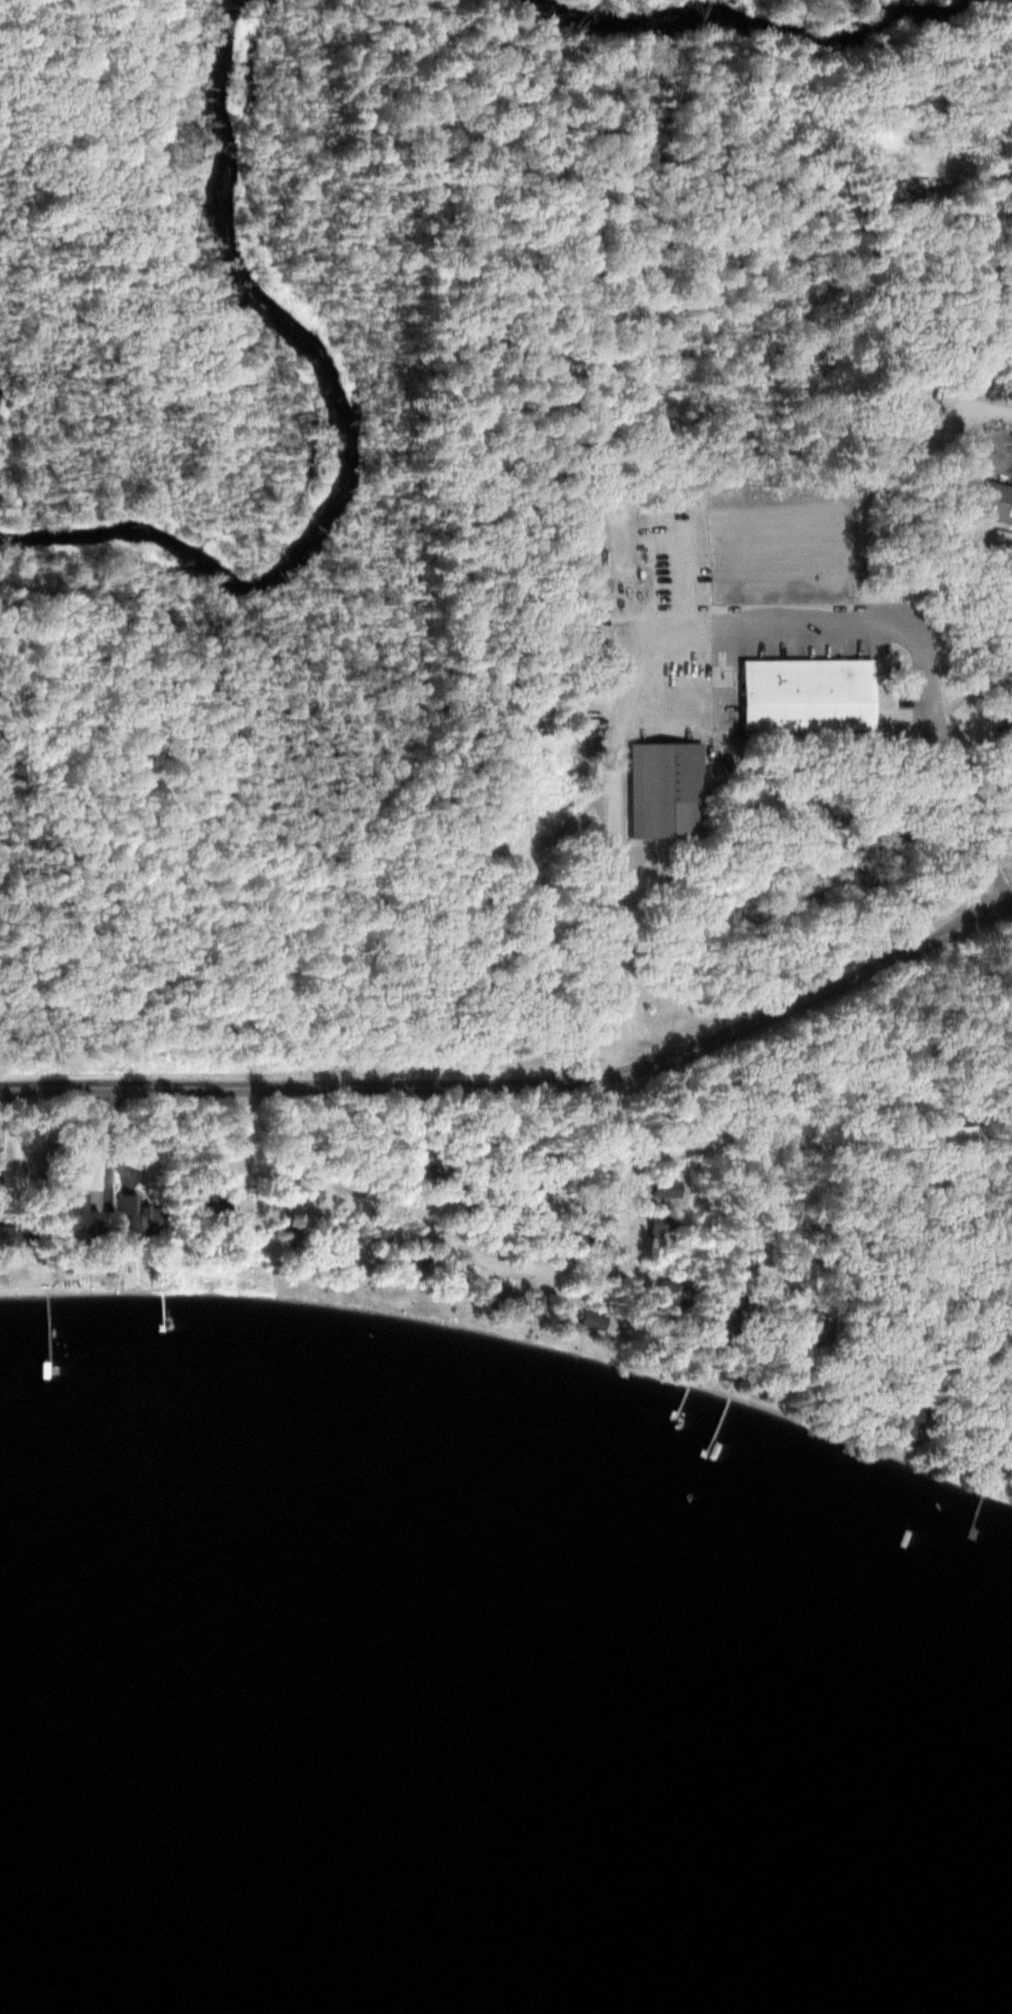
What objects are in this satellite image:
building: (994, 499)
road: (704, 631)
parking lot: (723, 648)
building: (796, 692)
road: (972, 695)
building: (660, 788)
road: (525, 1085)
road: (612, 1110)
road: (821, 1151)
road: (623, 1203)
building: (95, 1220)
building: (382, 1239)
building: (338, 1243)
road: (460, 1251)
building: (449, 1272)
building: (501, 1292)
building: (541, 1307)
building: (899, 1421)

